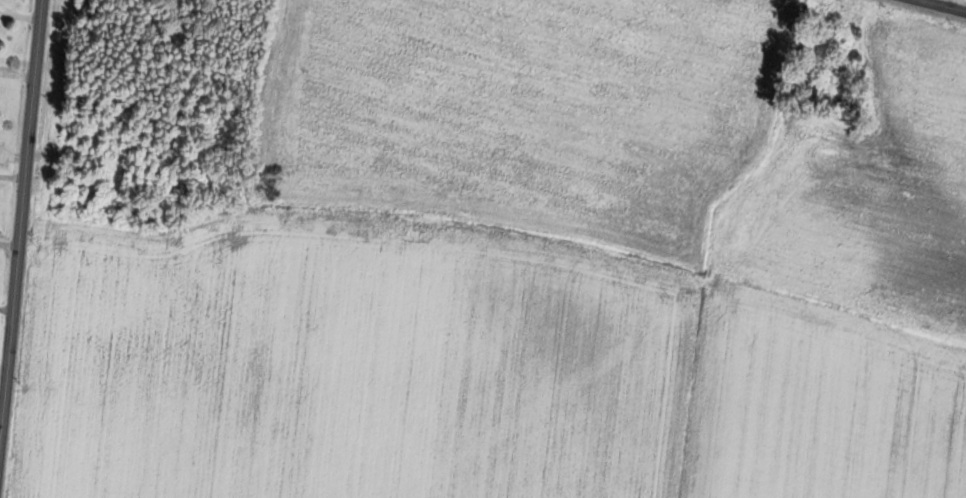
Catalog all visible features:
road: (937, 7)
road: (21, 231)

